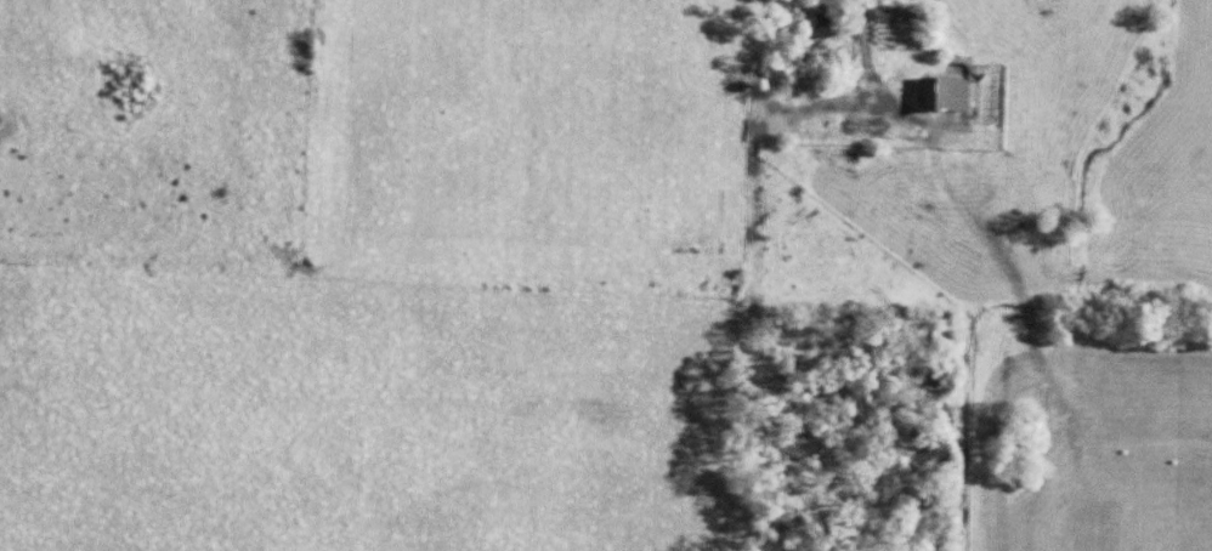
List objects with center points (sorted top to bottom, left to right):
road: (850, 16)
building: (938, 97)

